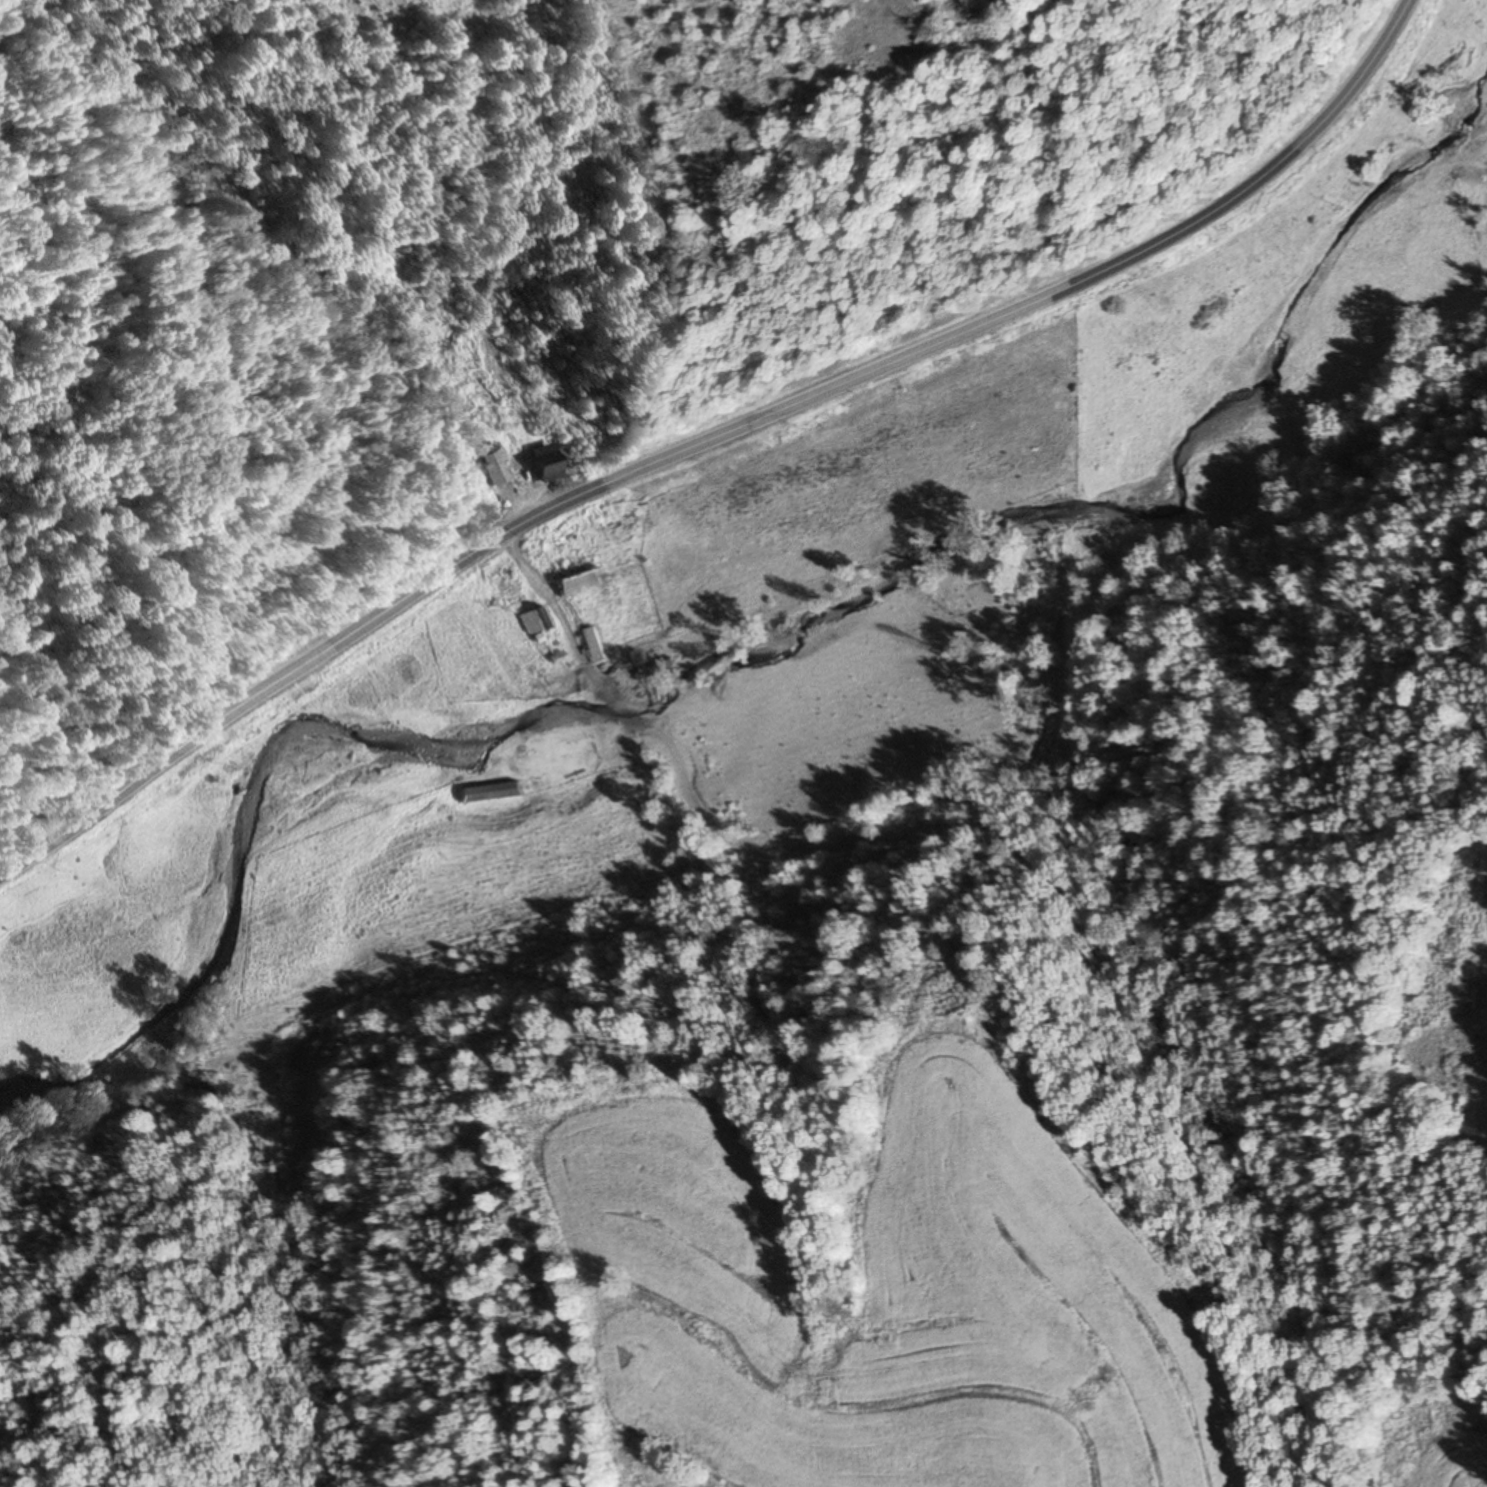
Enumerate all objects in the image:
road: (713, 437)
building: (538, 464)
building: (491, 468)
building: (571, 573)
building: (536, 616)
building: (593, 645)
building: (657, 673)
building: (488, 792)
crop: (877, 1294)

